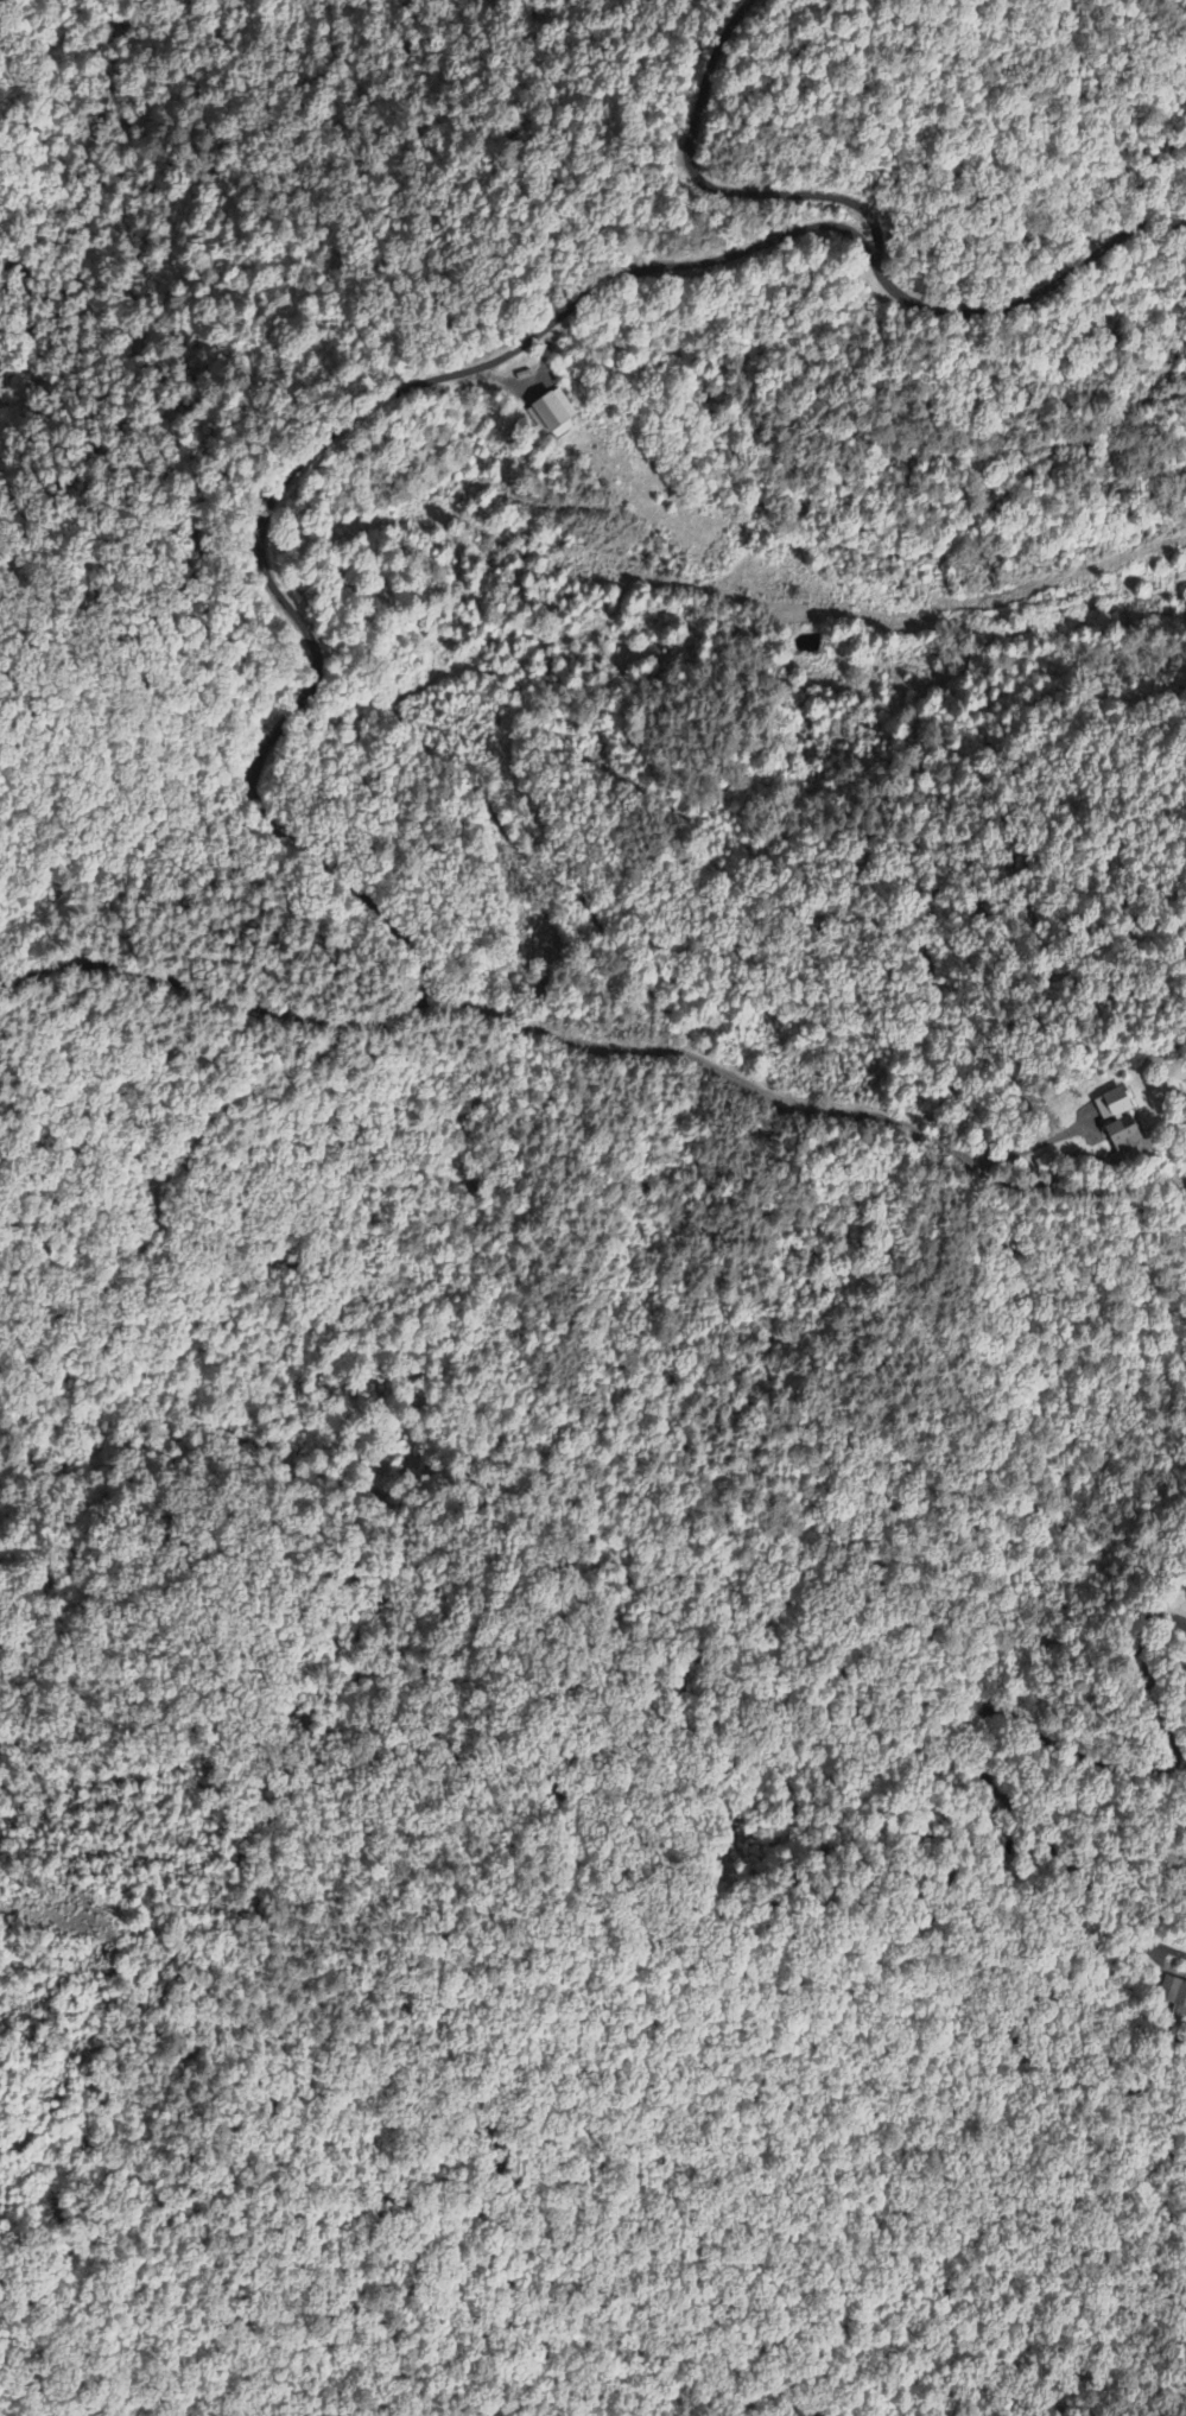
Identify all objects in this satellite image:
building: (552, 413)
road: (271, 497)
road: (710, 1064)
building: (1109, 1105)
building: (1118, 1136)
road: (1003, 1184)
building: (1174, 1997)

